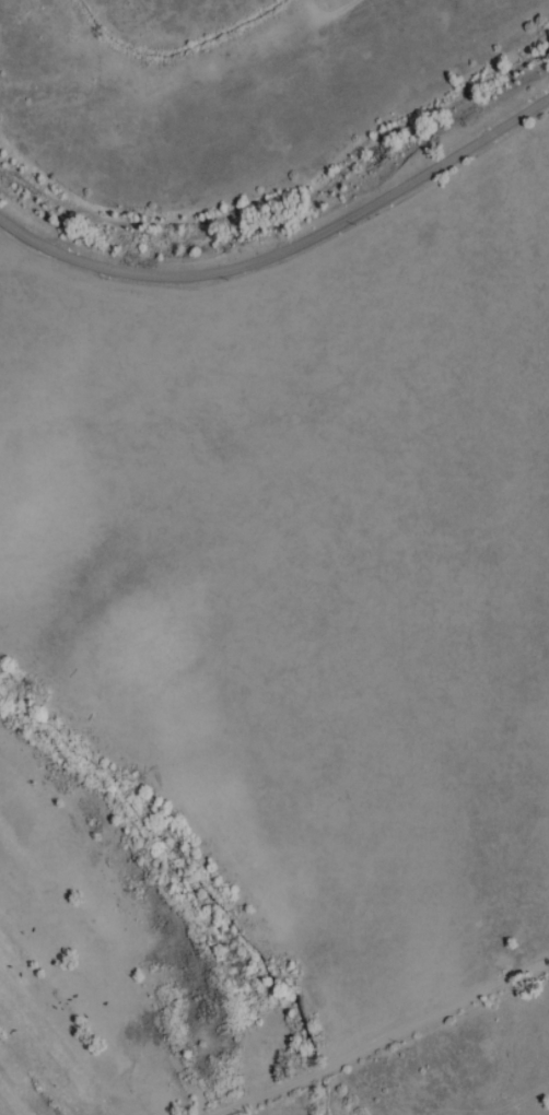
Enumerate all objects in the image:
road: (287, 251)
road: (384, 1040)

